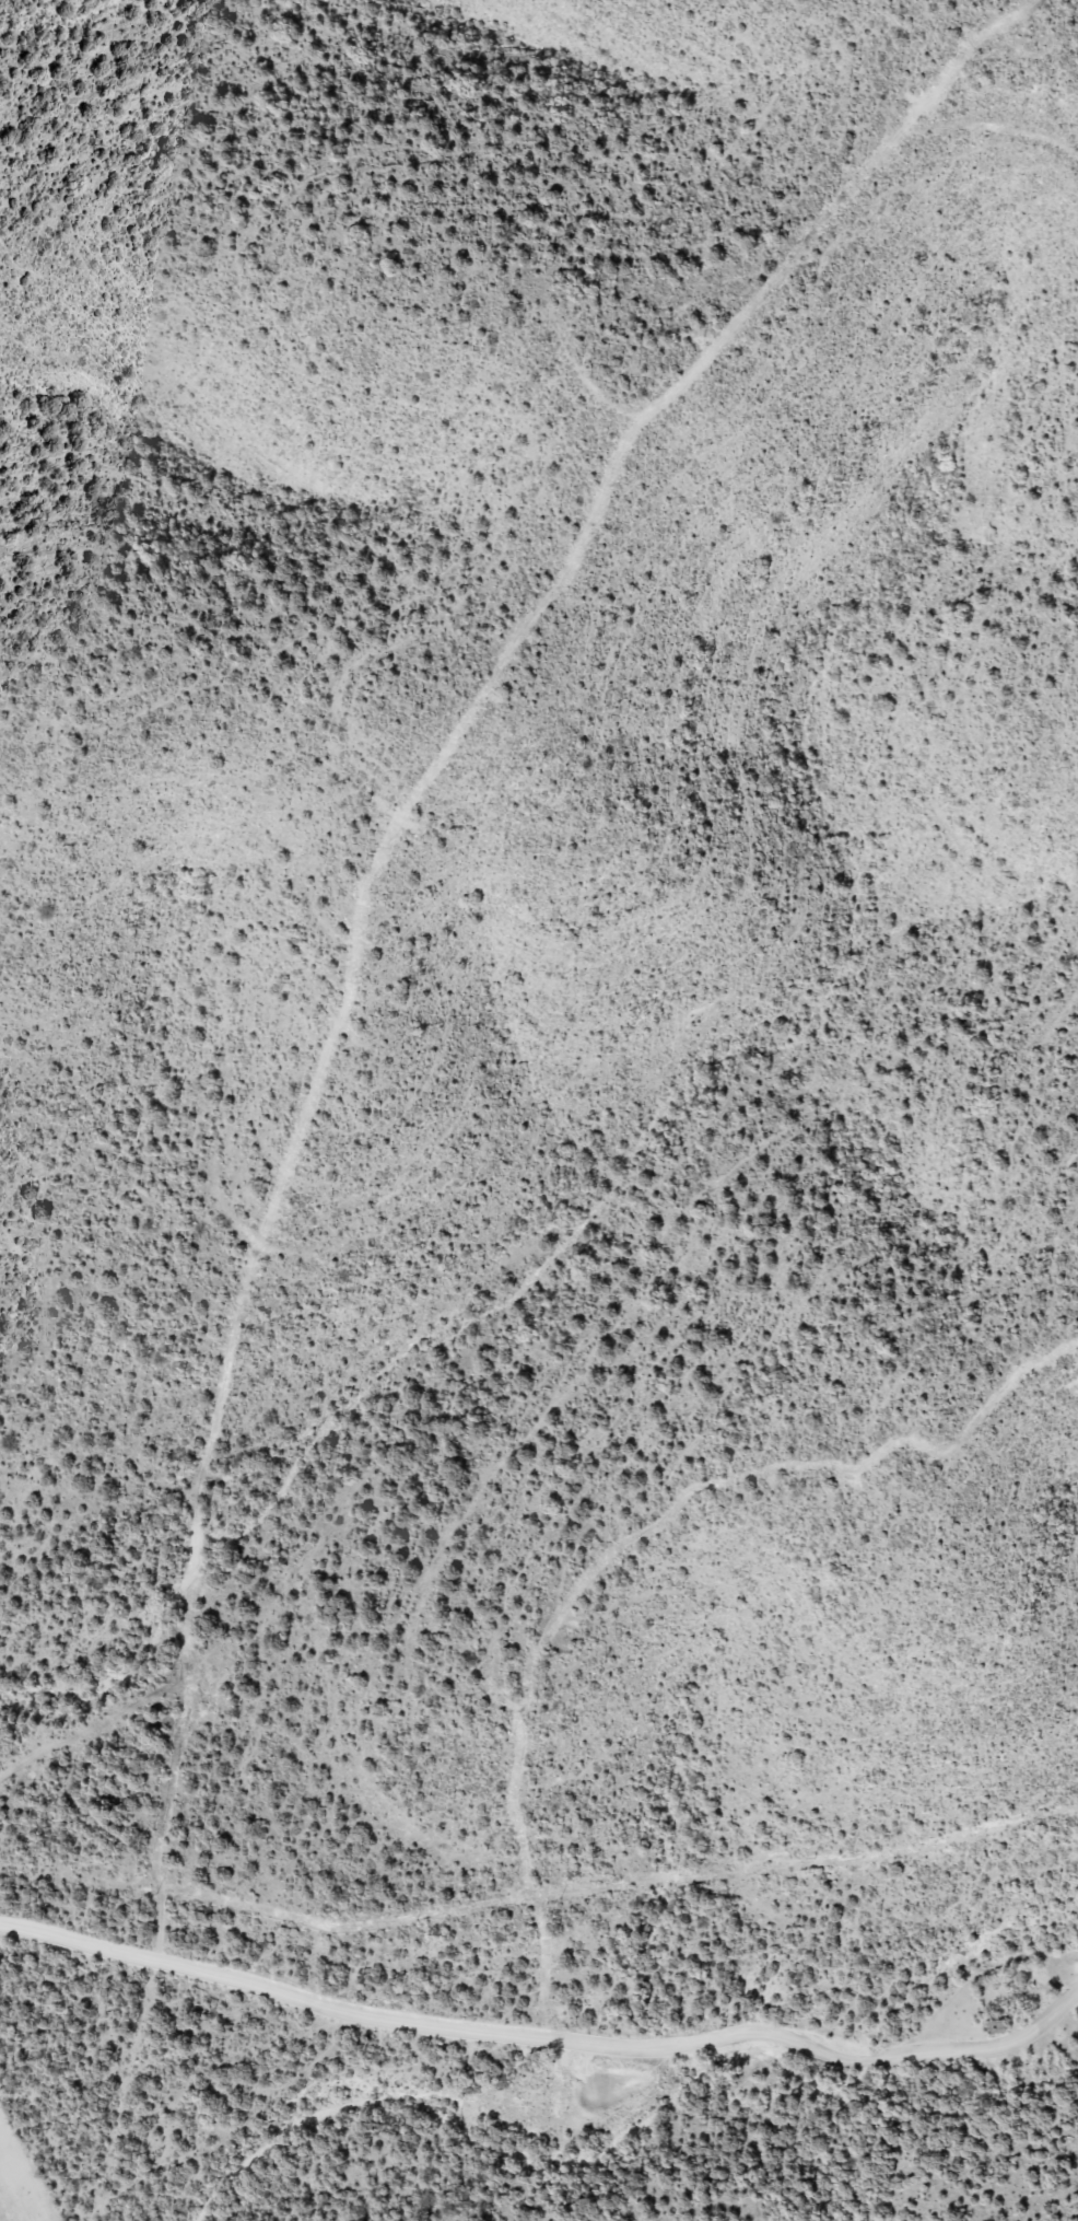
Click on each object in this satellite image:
road: (548, 2033)

